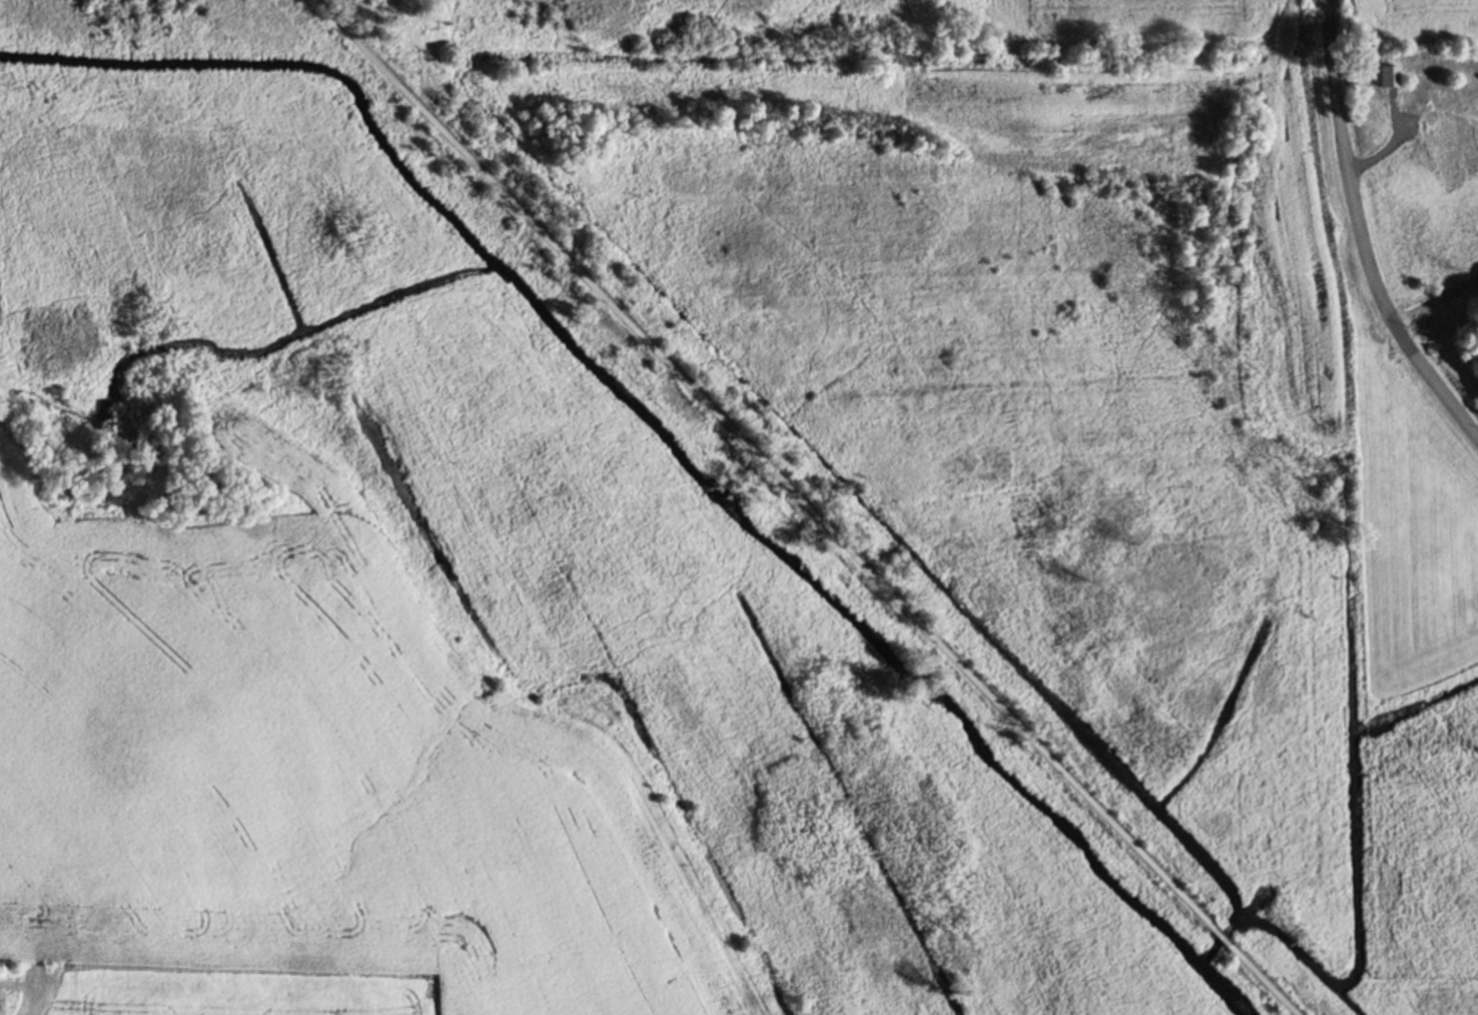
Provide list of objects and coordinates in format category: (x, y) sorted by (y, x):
building: (1388, 78)
building: (1441, 140)
road: (1386, 157)
road: (1360, 238)
road: (1435, 310)
road: (760, 464)
crop: (312, 769)
road: (1221, 938)
road: (1262, 982)

